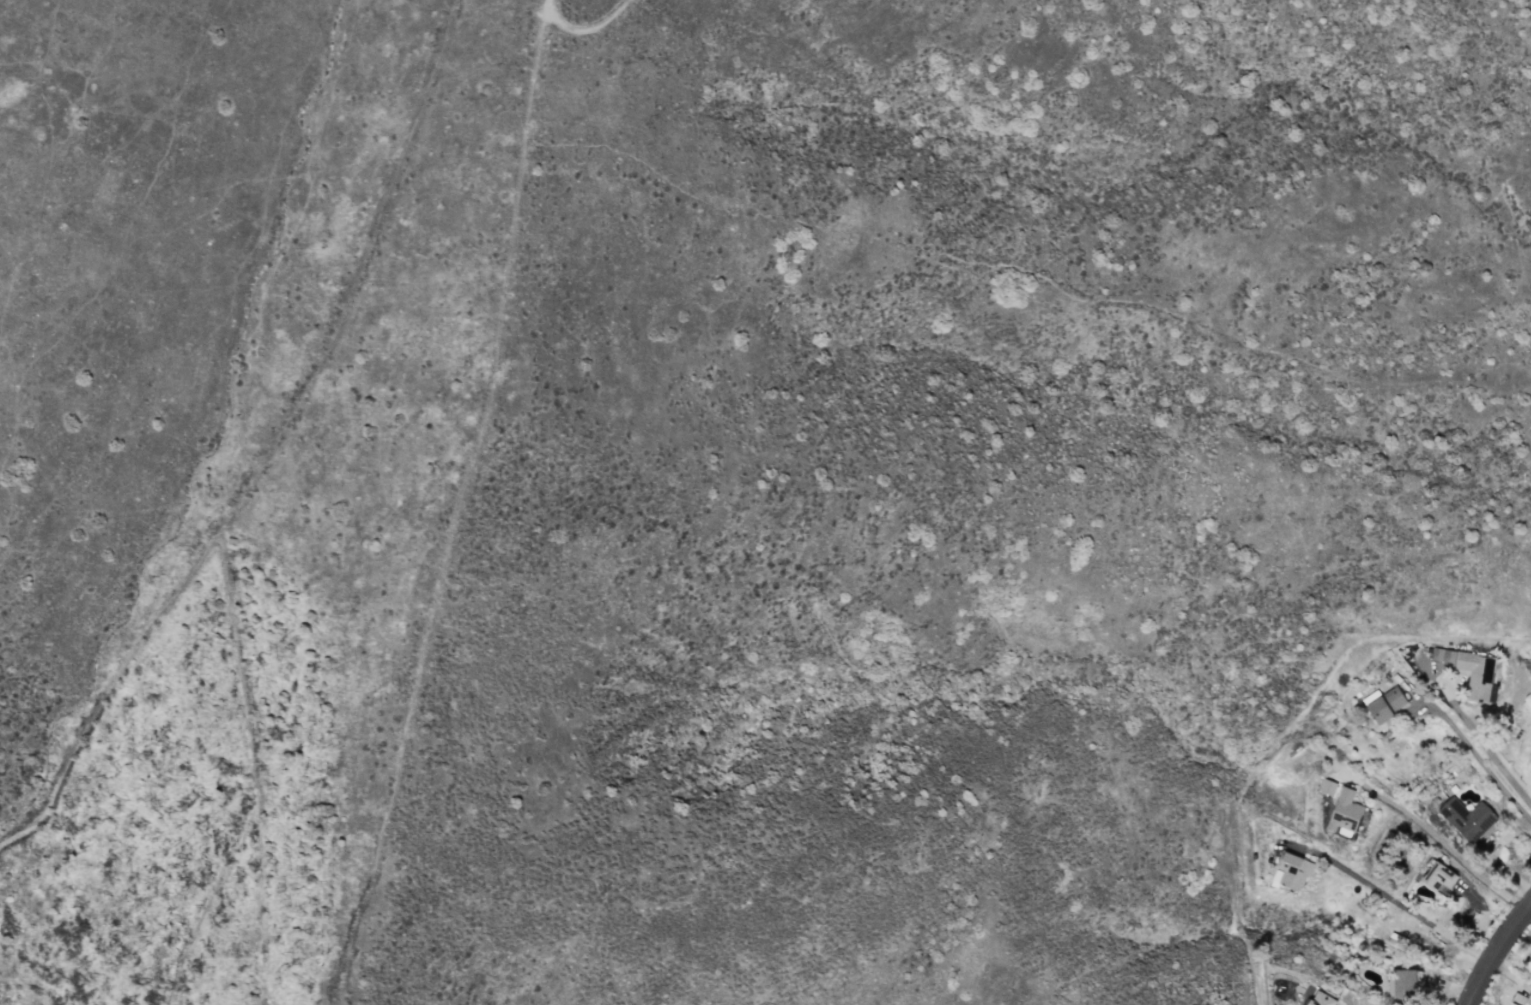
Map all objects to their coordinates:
road: (591, 27)
road: (268, 446)
building: (1470, 670)
building: (1386, 703)
road: (1486, 747)
road: (1480, 758)
building: (1327, 786)
building: (1345, 813)
building: (1466, 817)
road: (1443, 845)
building: (1293, 870)
building: (1438, 876)
road: (1394, 900)
road: (1493, 949)
building: (1404, 984)
road: (1449, 992)
building: (1321, 999)
building: (1520, 999)

